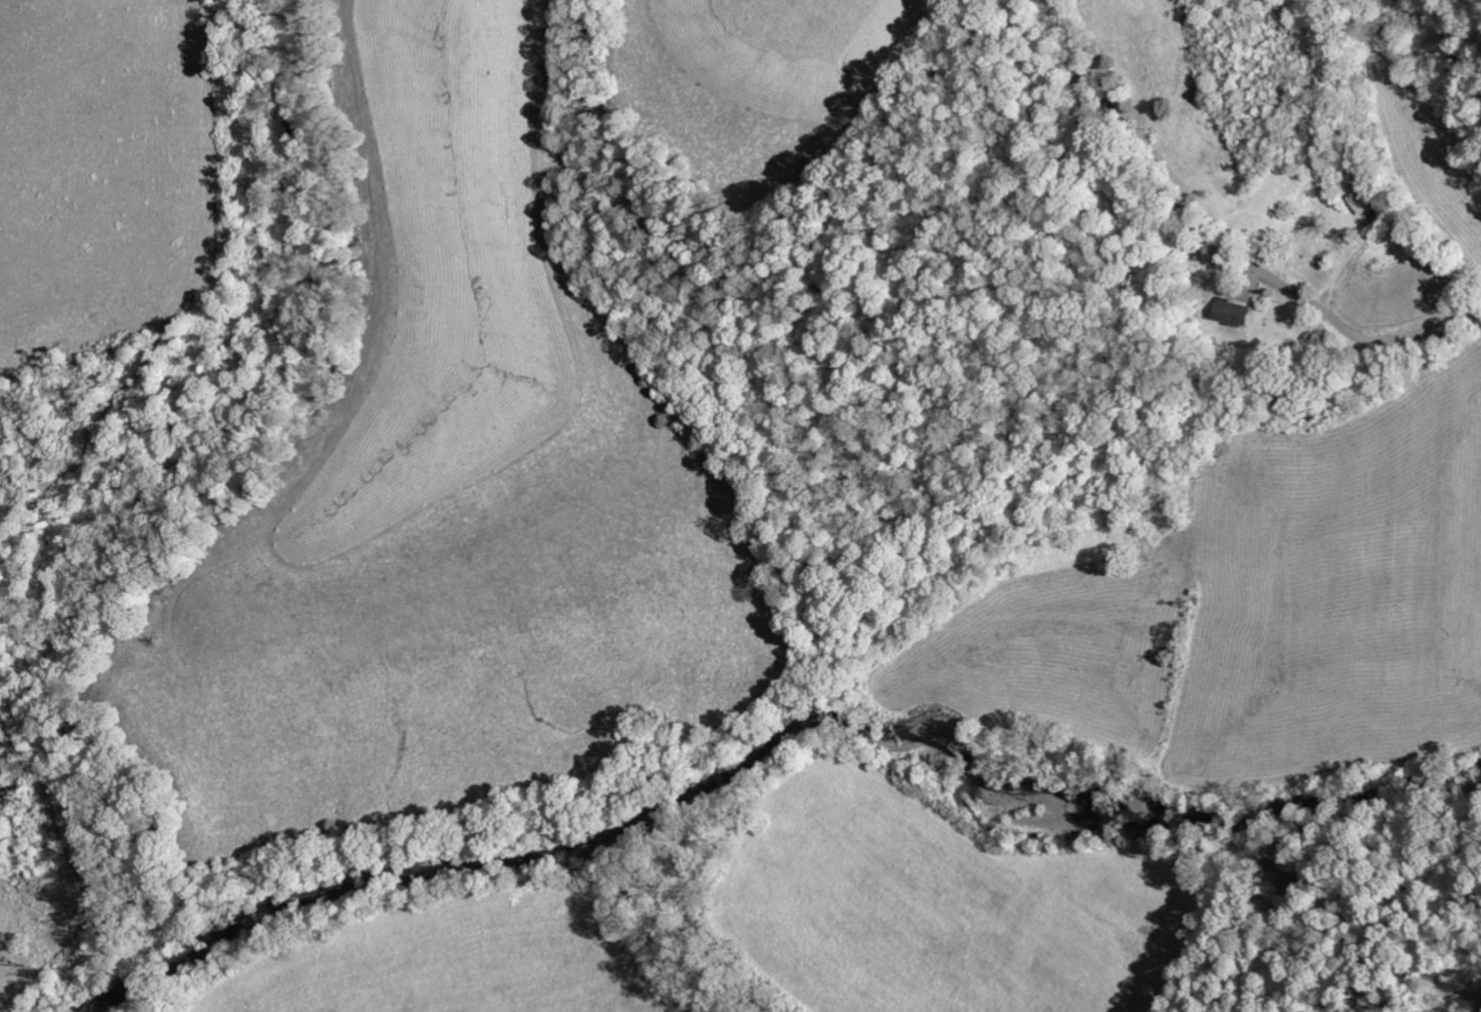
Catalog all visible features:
road: (1219, 244)

